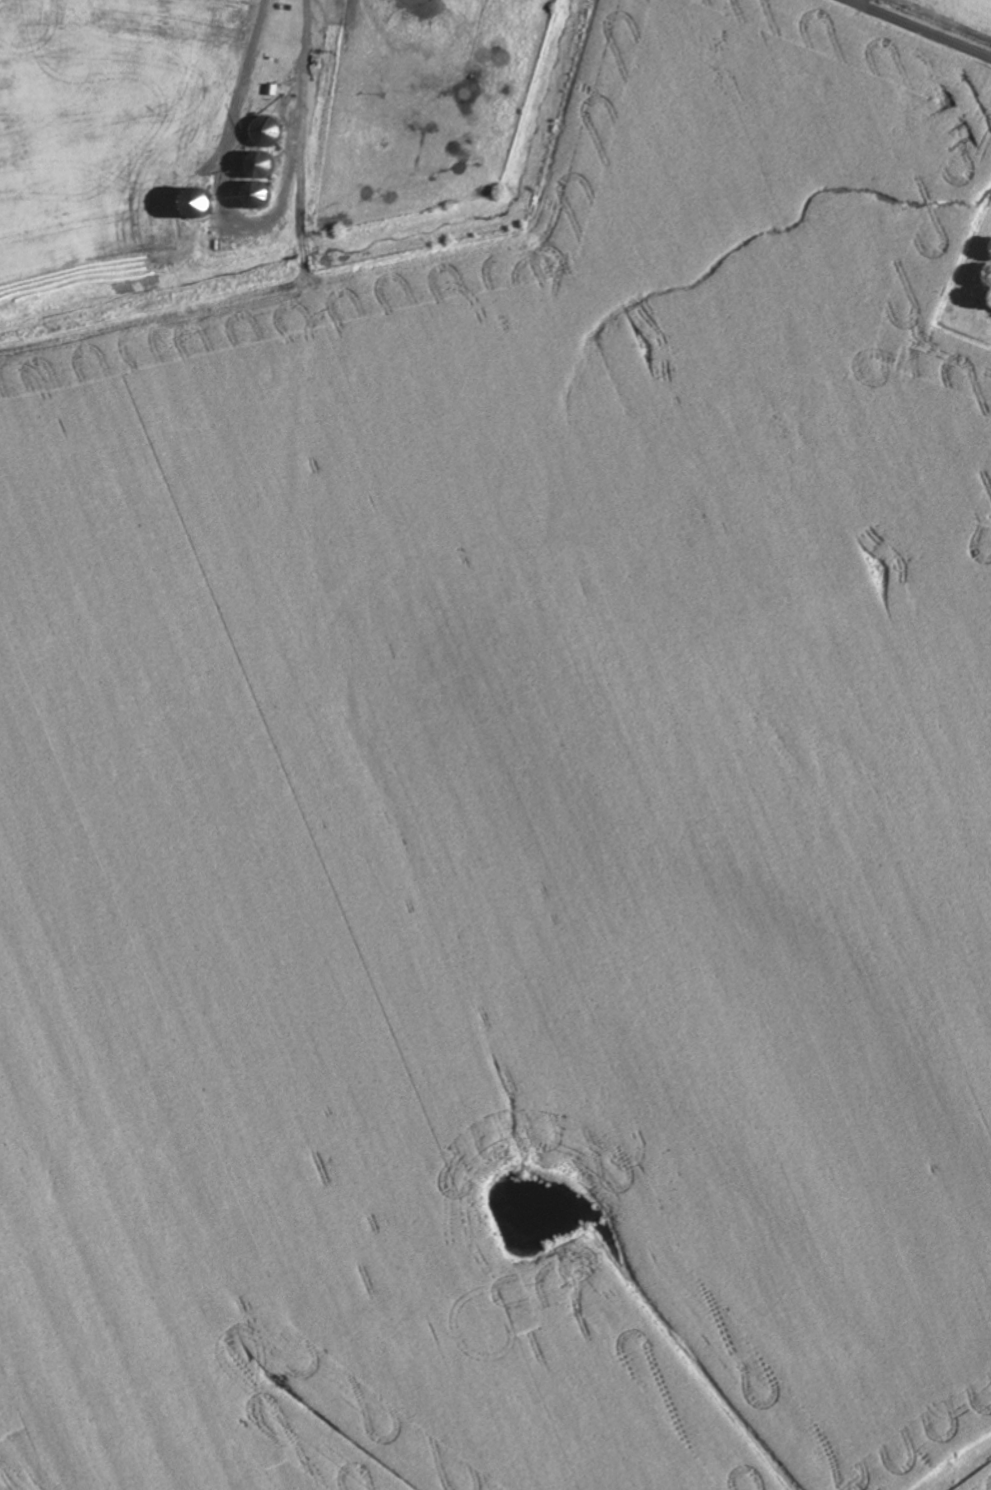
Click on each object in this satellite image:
road: (918, 29)
building: (266, 86)

